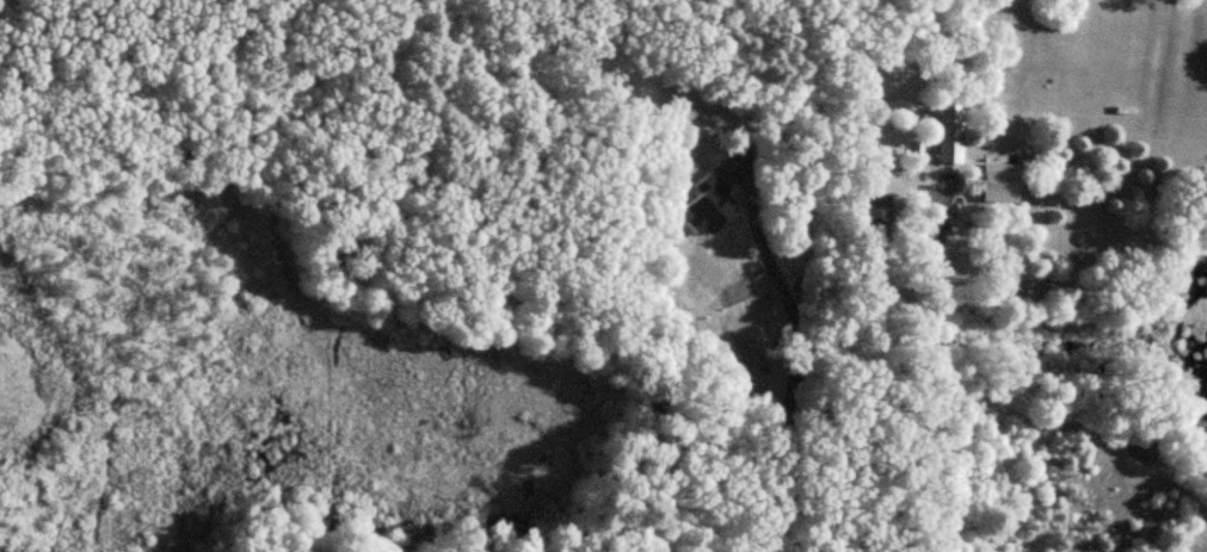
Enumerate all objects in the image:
building: (952, 139)
building: (1000, 184)
building: (879, 212)
road: (936, 372)

